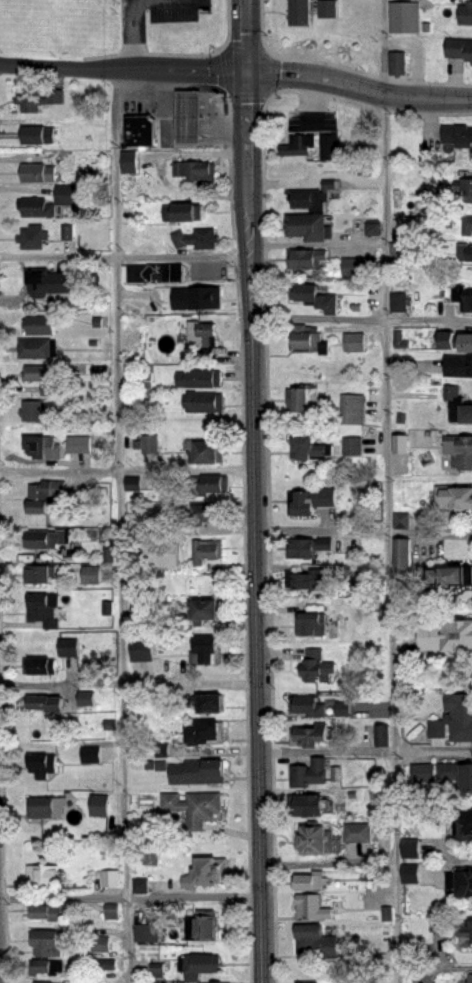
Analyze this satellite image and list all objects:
building: (326, 9)
building: (299, 13)
building: (465, 14)
parking lot: (158, 15)
building: (405, 19)
crop: (51, 21)
road: (132, 31)
building: (462, 50)
building: (396, 63)
road: (237, 71)
traffic signals: (246, 72)
building: (31, 99)
building: (360, 130)
building: (141, 132)
building: (33, 134)
building: (458, 134)
building: (299, 146)
building: (329, 146)
building: (127, 162)
building: (195, 169)
building: (38, 173)
building: (465, 186)
building: (307, 198)
building: (39, 208)
building: (186, 212)
building: (469, 226)
building: (309, 228)
building: (370, 228)
building: (35, 237)
building: (197, 238)
road: (317, 246)
building: (466, 253)
road: (125, 255)
building: (306, 259)
building: (362, 268)
building: (204, 270)
building: (154, 274)
building: (46, 283)
building: (401, 285)
building: (198, 299)
building: (316, 299)
building: (462, 299)
building: (397, 302)
road: (362, 321)
building: (41, 326)
building: (198, 331)
building: (310, 338)
building: (352, 342)
building: (455, 342)
building: (35, 349)
building: (460, 366)
building: (39, 373)
building: (141, 379)
building: (198, 379)
building: (304, 400)
building: (204, 402)
building: (354, 409)
building: (31, 411)
building: (468, 415)
building: (148, 443)
building: (80, 445)
building: (351, 446)
building: (42, 448)
building: (313, 449)
building: (207, 452)
building: (461, 452)
road: (128, 469)
building: (215, 484)
building: (198, 485)
road: (257, 491)
road: (388, 491)
building: (44, 495)
building: (454, 499)
building: (303, 501)
building: (315, 509)
building: (214, 515)
building: (401, 520)
road: (122, 525)
road: (364, 533)
building: (45, 540)
building: (308, 548)
building: (205, 552)
building: (161, 554)
building: (405, 555)
building: (350, 570)
building: (40, 573)
building: (89, 575)
building: (452, 578)
building: (313, 582)
building: (45, 609)
building: (205, 611)
building: (148, 619)
building: (312, 625)
building: (447, 634)
building: (69, 646)
building: (208, 648)
building: (142, 649)
building: (40, 664)
building: (319, 664)
road: (128, 683)
building: (85, 698)
building: (47, 701)
building: (210, 701)
building: (309, 703)
building: (459, 713)
building: (207, 729)
building: (309, 734)
building: (161, 750)
road: (364, 750)
building: (44, 762)
building: (199, 770)
building: (310, 772)
building: (458, 774)
building: (310, 802)
building: (101, 803)
building: (48, 804)
building: (196, 807)
building: (465, 824)
building: (360, 833)
building: (318, 839)
building: (407, 847)
road: (328, 860)
building: (211, 870)
building: (412, 873)
building: (44, 876)
building: (110, 878)
building: (312, 880)
building: (461, 880)
road: (129, 899)
building: (313, 905)
building: (47, 911)
building: (438, 923)
building: (203, 927)
building: (149, 932)
building: (464, 937)
building: (318, 940)
building: (50, 941)
building: (204, 962)
building: (43, 967)
road: (435, 969)
building: (470, 979)
building: (218, 981)
building: (38, 982)
building: (51, 982)
building: (310, 982)

